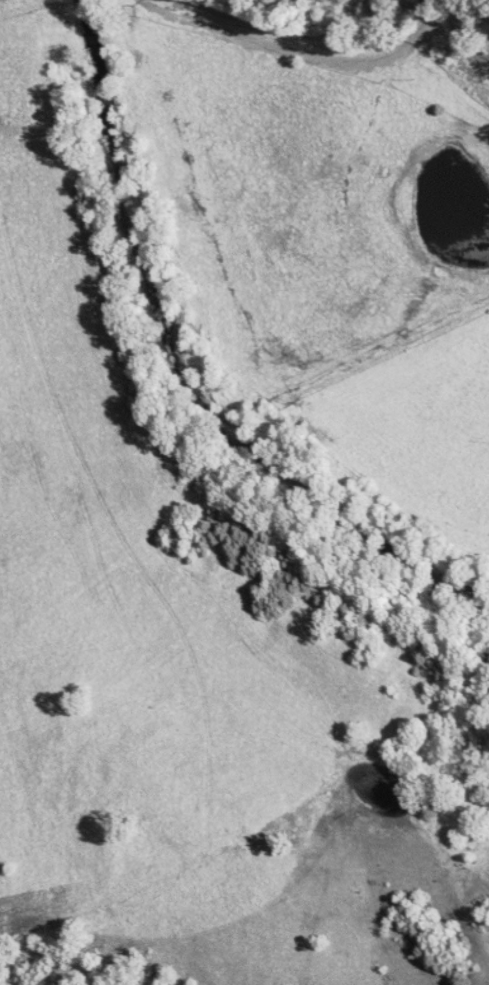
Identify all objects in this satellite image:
road: (445, 27)

